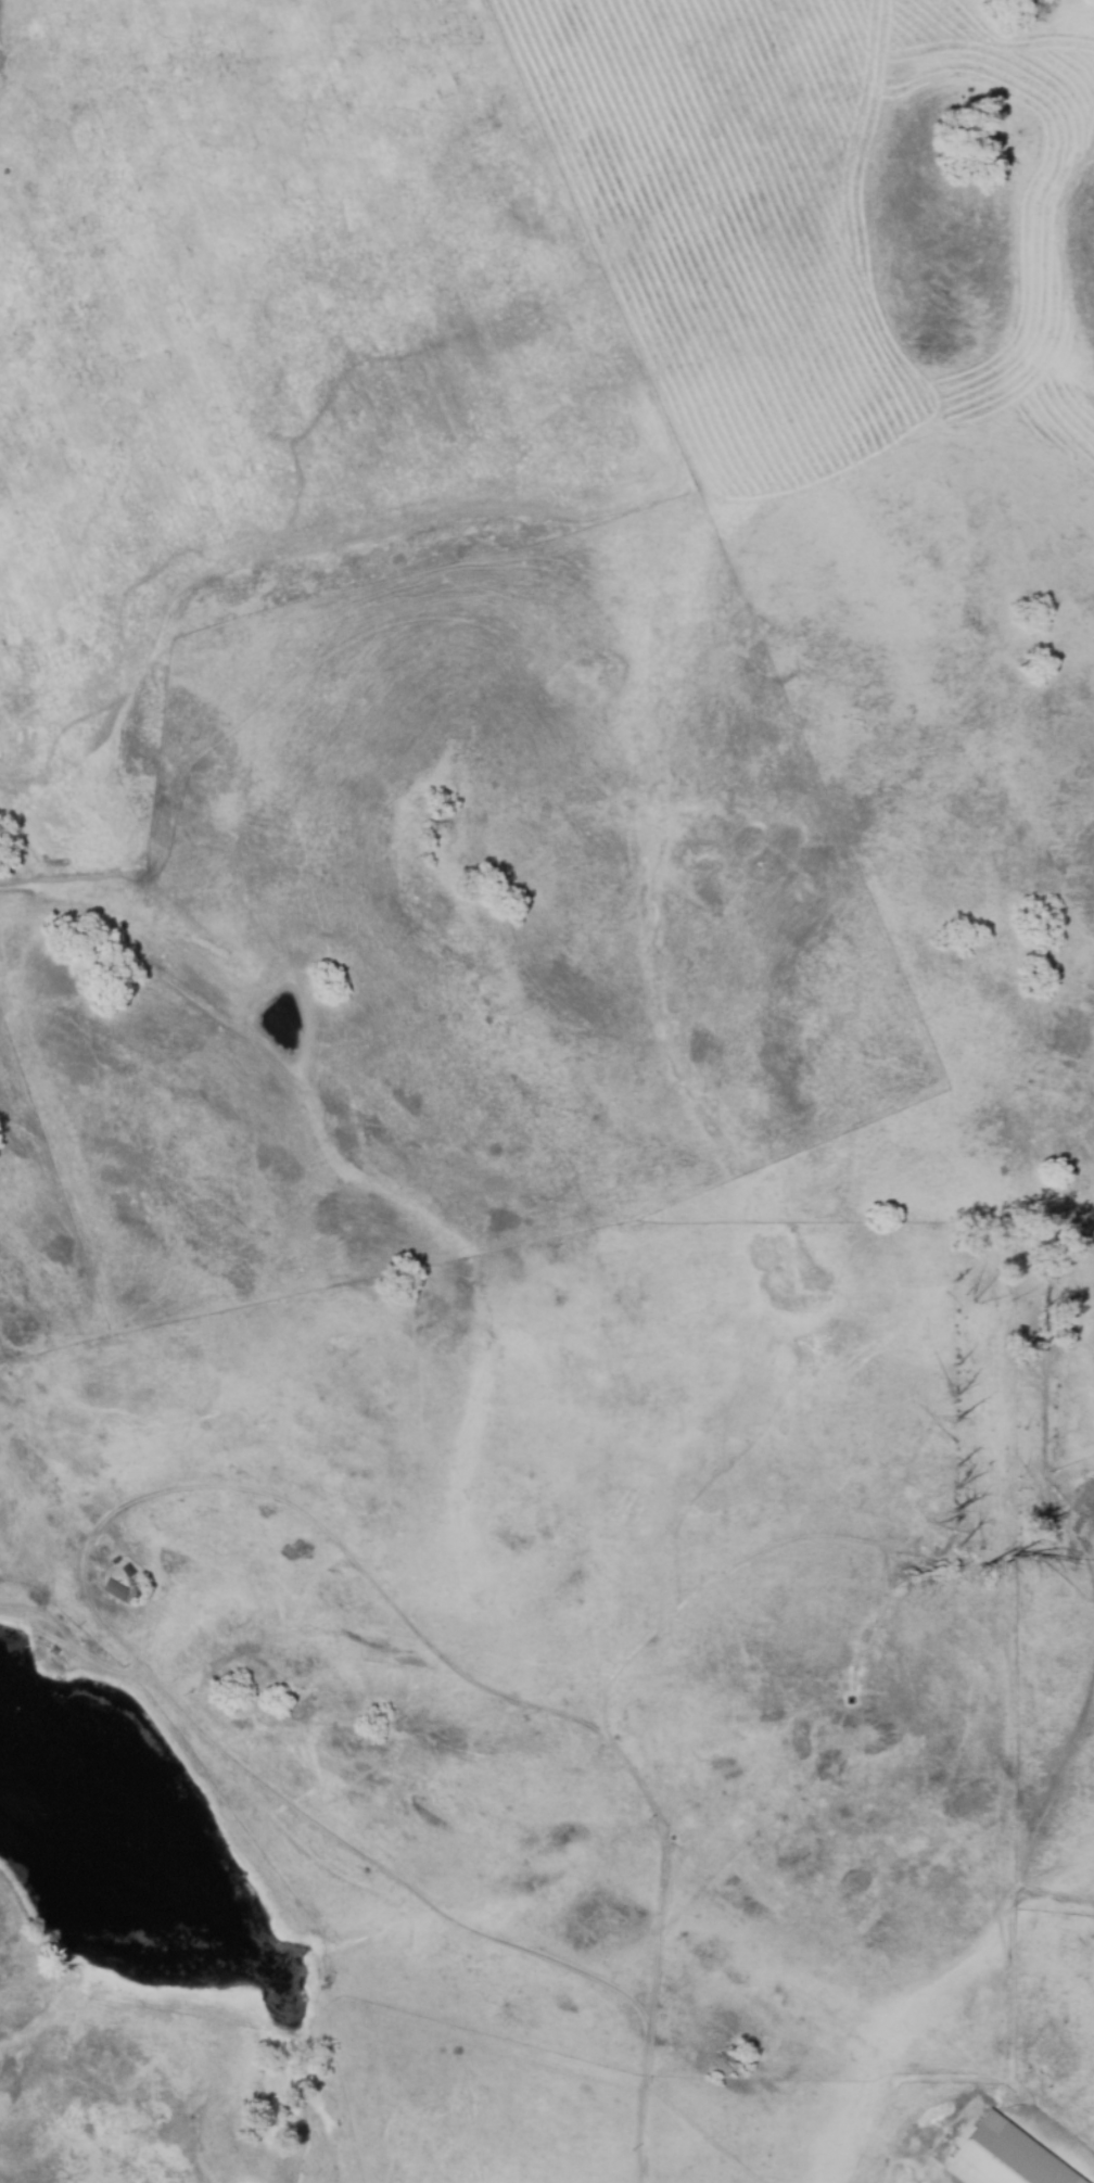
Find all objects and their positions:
dam: (37, 1626)

